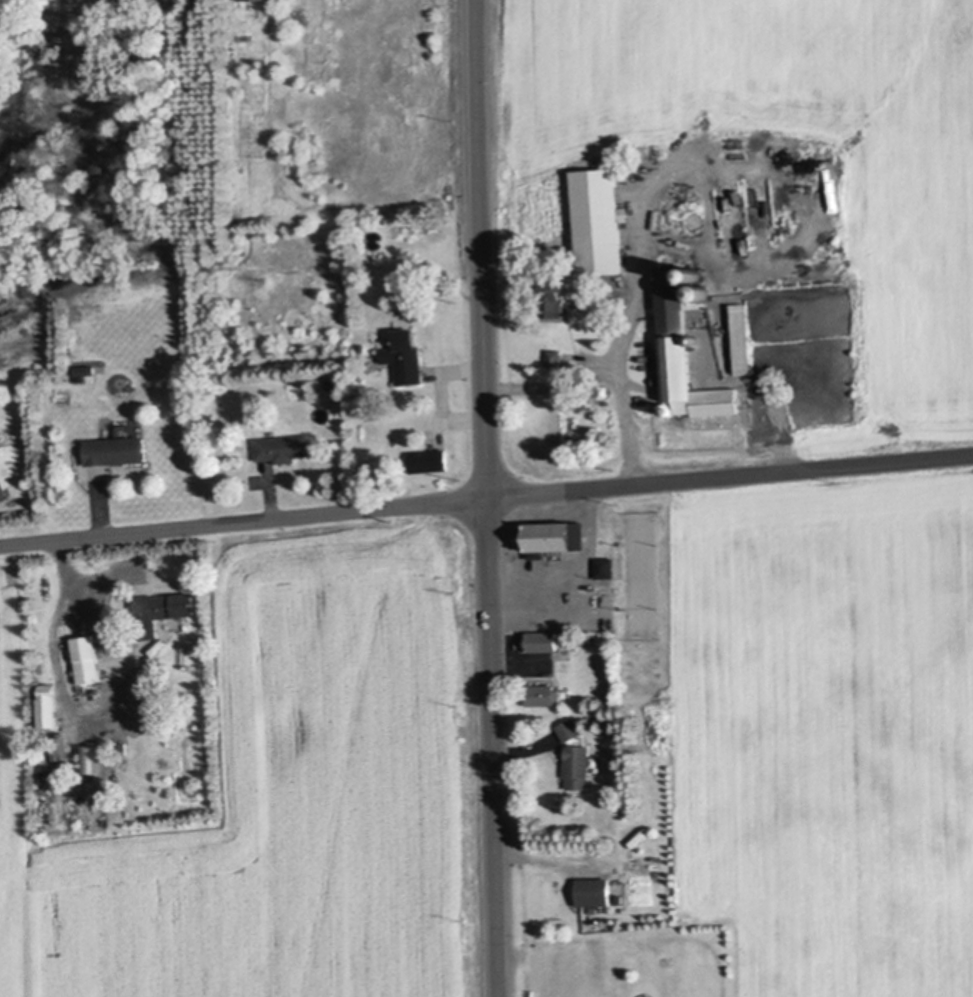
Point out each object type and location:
building: (255, 1)
building: (601, 219)
building: (695, 267)
building: (554, 291)
building: (697, 338)
building: (742, 340)
building: (685, 353)
building: (407, 355)
building: (555, 360)
road: (611, 374)
building: (84, 375)
building: (330, 382)
building: (604, 389)
building: (645, 398)
building: (670, 410)
building: (211, 420)
building: (284, 446)
building: (117, 448)
building: (0, 449)
building: (430, 460)
building: (3, 485)
road: (485, 493)
road: (490, 498)
building: (552, 531)
building: (538, 552)
building: (608, 571)
road: (580, 574)
building: (162, 610)
building: (545, 640)
building: (89, 657)
building: (545, 693)
building: (50, 705)
road: (96, 715)
building: (573, 729)
building: (125, 746)
building: (91, 758)
building: (581, 766)
building: (596, 890)
building: (621, 898)

